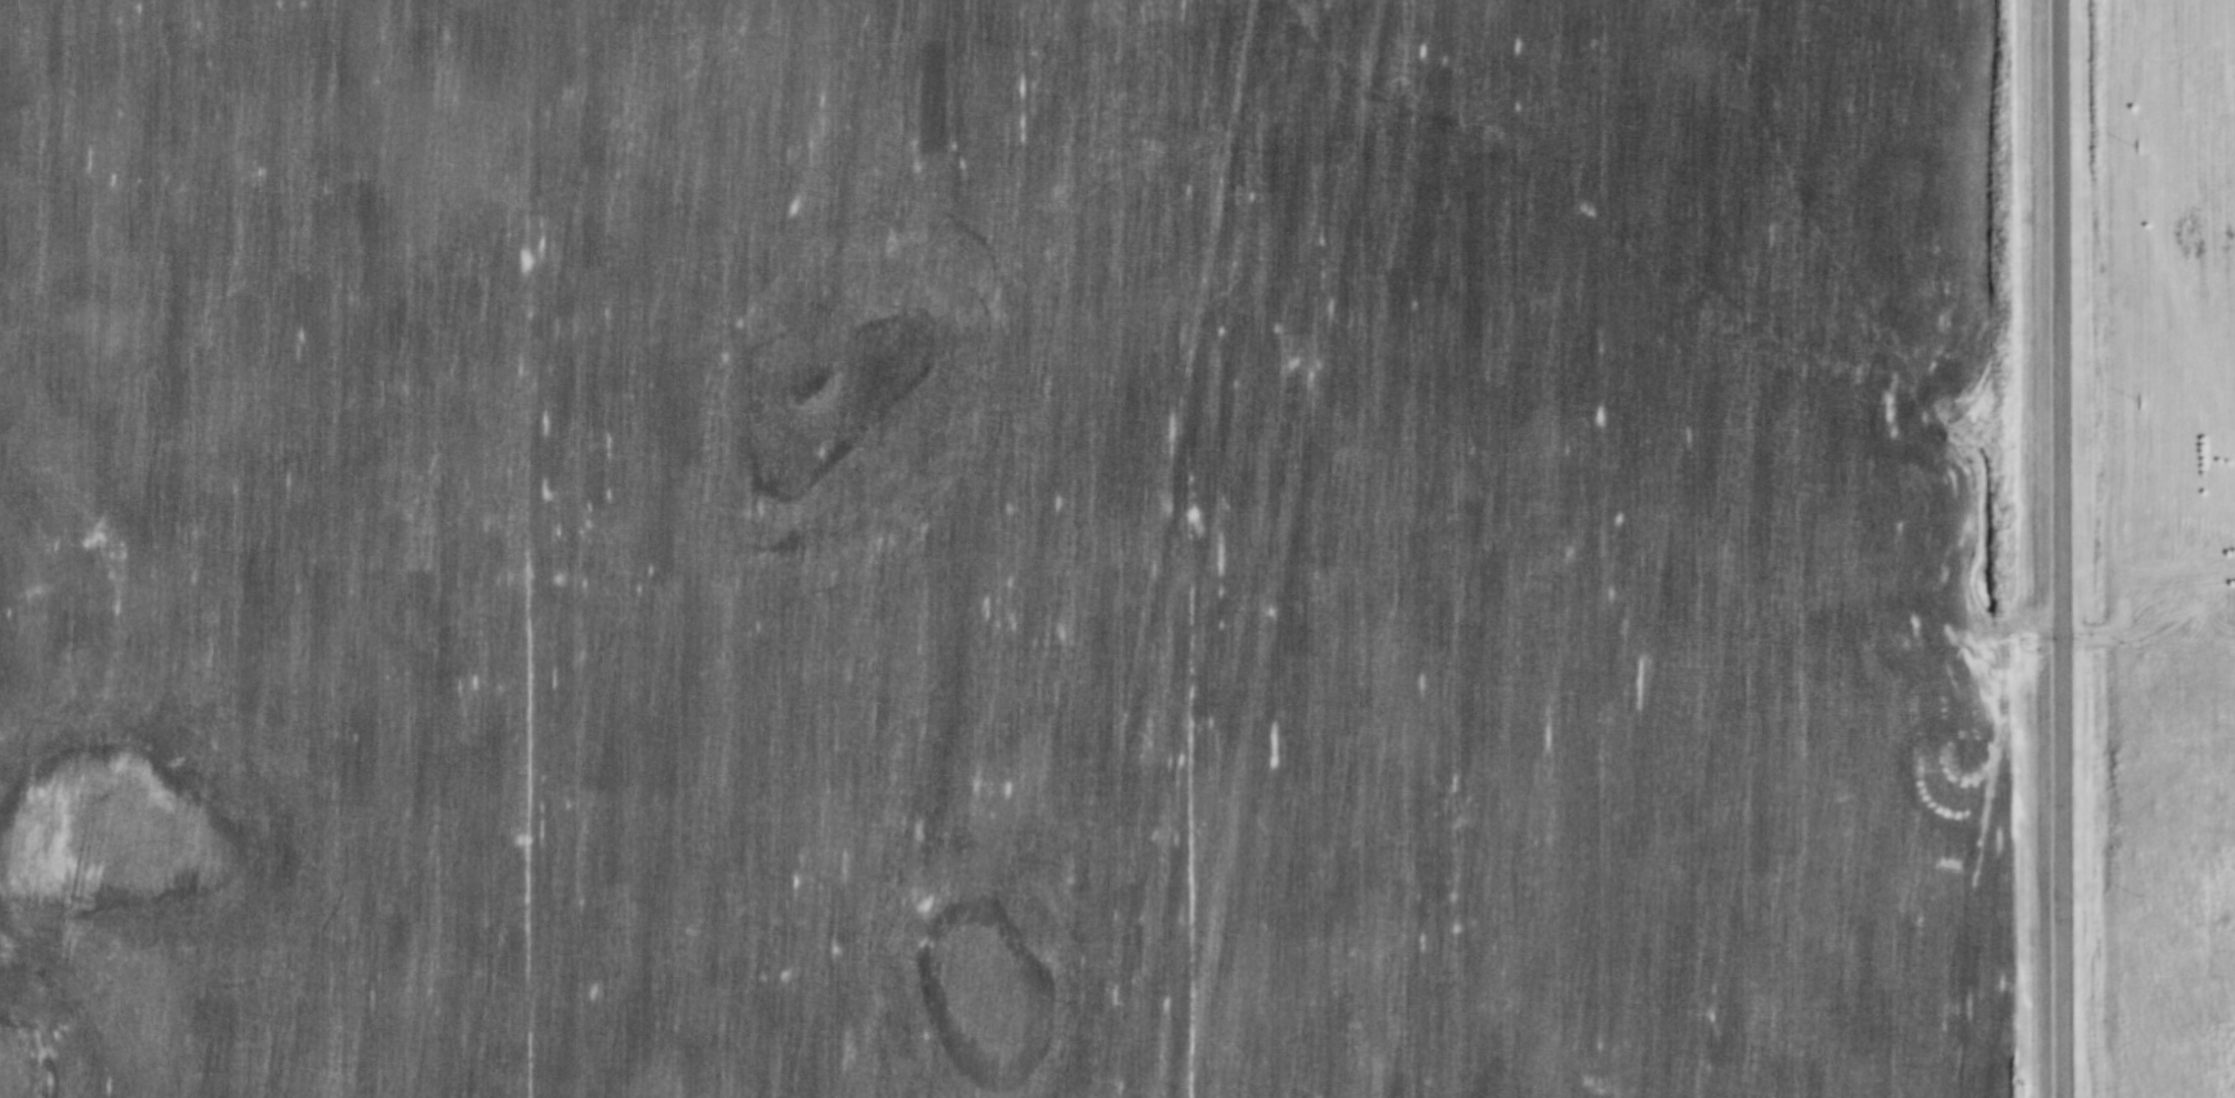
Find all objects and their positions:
road: (2062, 548)

